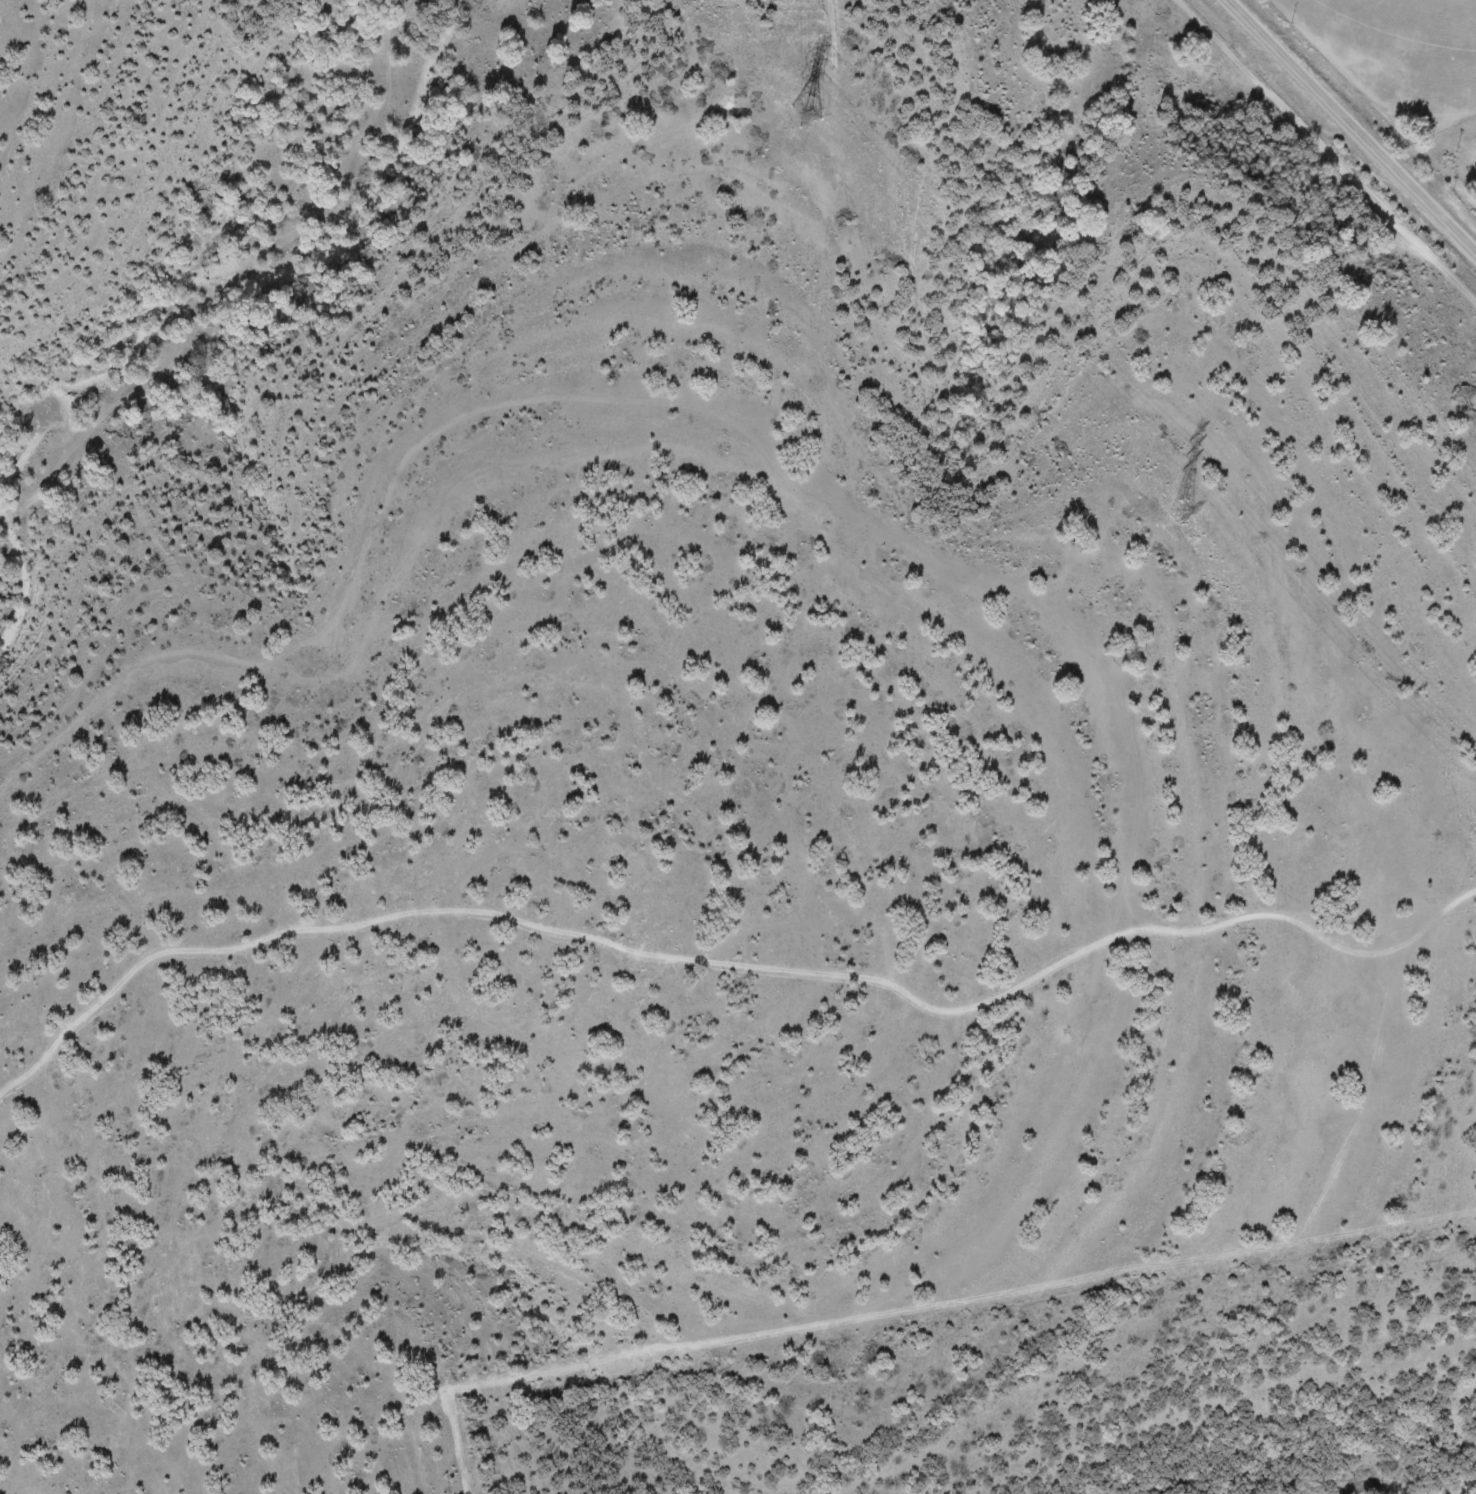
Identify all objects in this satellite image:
power tower: (810, 102)
road: (1353, 124)
power tower: (1174, 504)

